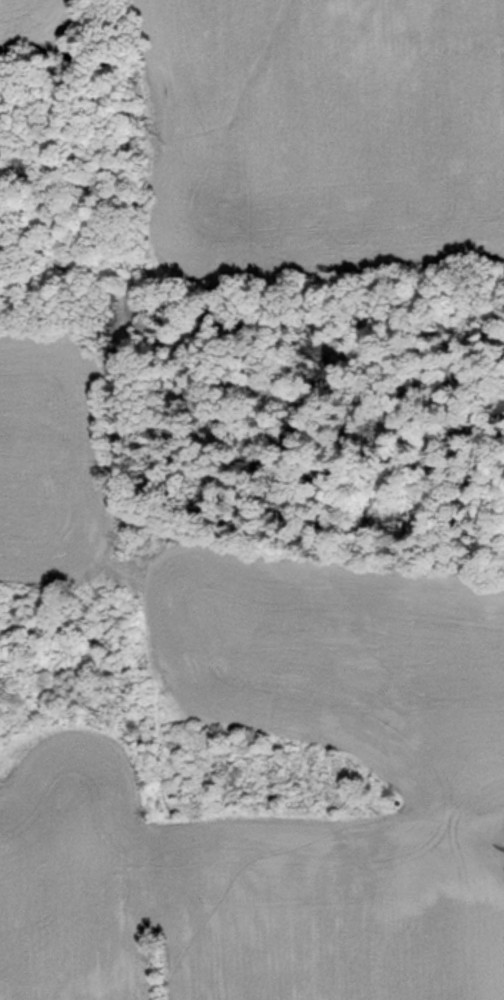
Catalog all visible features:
road: (101, 405)

